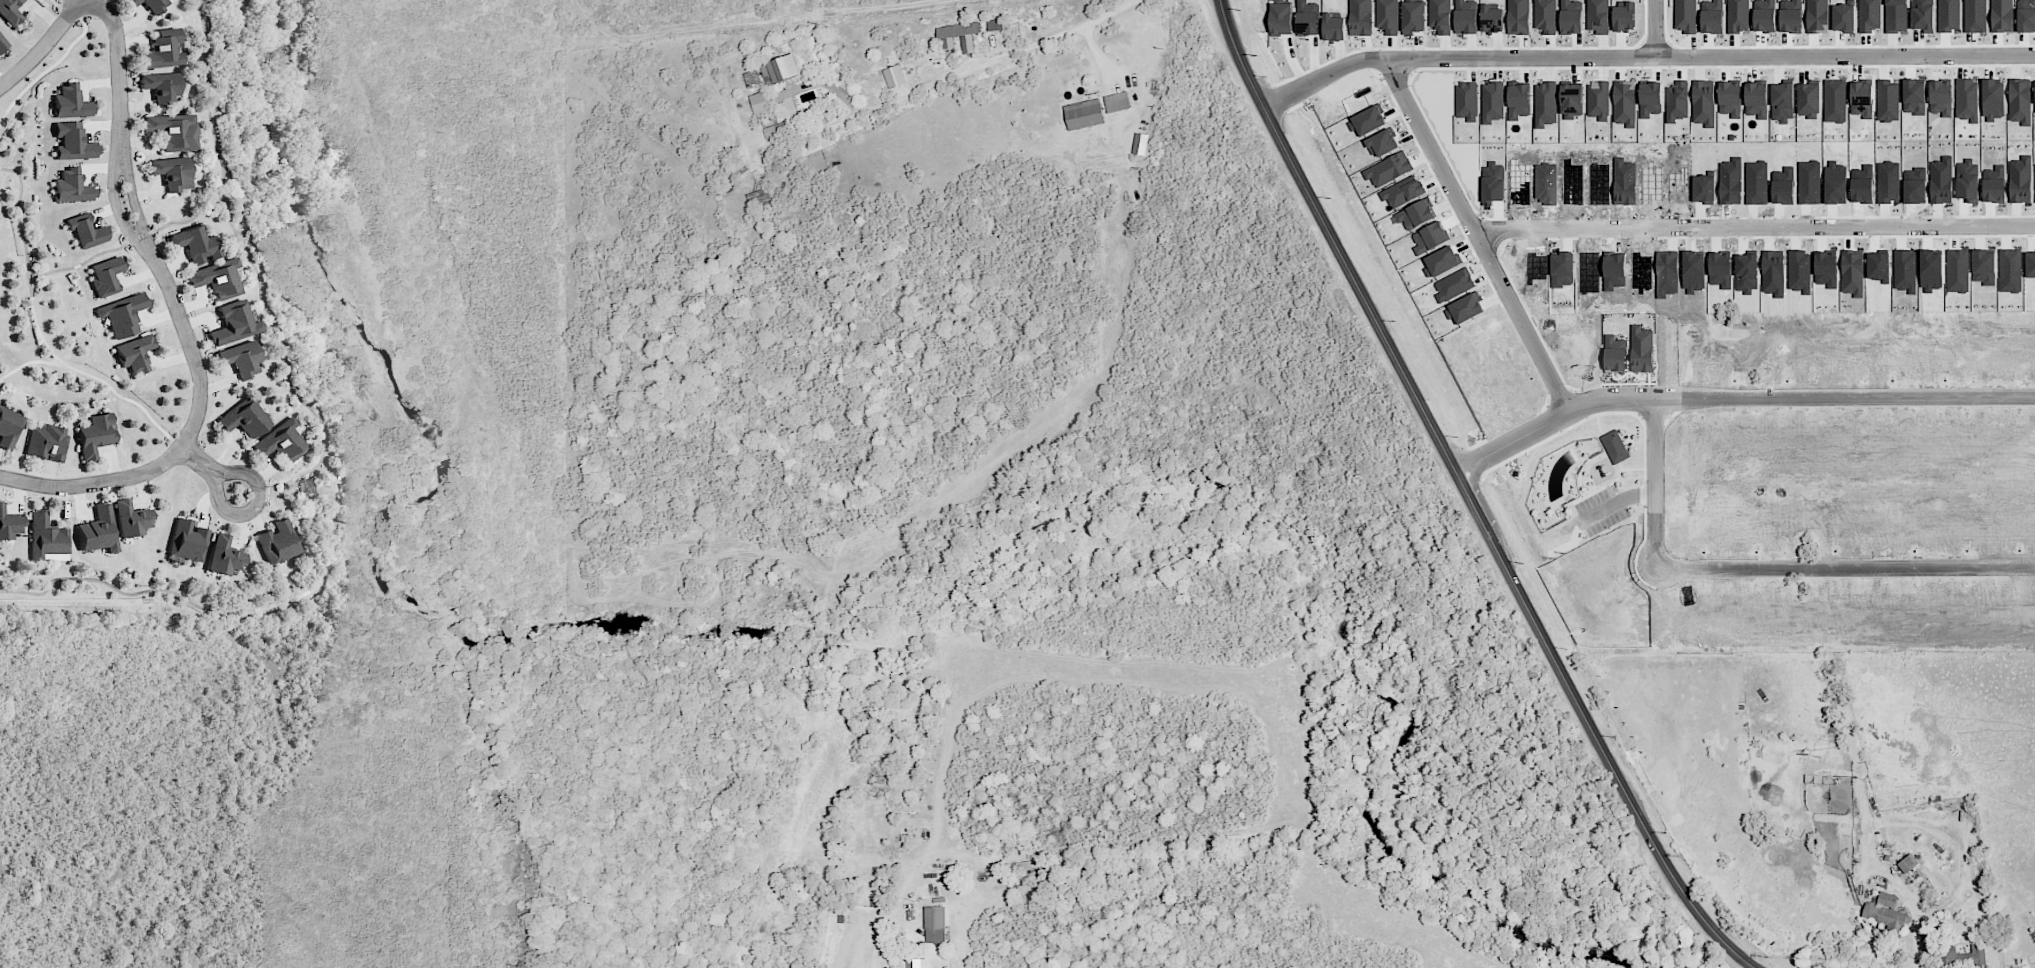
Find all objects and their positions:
building: (130, 2)
building: (154, 5)
road: (789, 10)
building: (10, 11)
building: (1685, 15)
building: (1765, 15)
building: (1791, 15)
building: (1870, 15)
building: (2001, 15)
building: (1387, 16)
building: (1413, 16)
building: (1440, 16)
building: (1466, 16)
building: (1545, 16)
building: (1571, 16)
building: (1598, 16)
building: (1624, 16)
building: (1712, 16)
building: (1817, 16)
building: (1361, 17)
building: (1519, 17)
building: (1737, 17)
building: (1281, 18)
building: (1308, 18)
building: (1492, 18)
road: (772, 23)
building: (995, 24)
building: (1334, 26)
road: (1654, 28)
building: (958, 35)
building: (3, 43)
road: (44, 46)
building: (161, 48)
road: (1712, 56)
road: (118, 66)
building: (781, 69)
road: (979, 73)
building: (894, 76)
road: (1325, 76)
building: (753, 78)
building: (160, 87)
building: (1941, 97)
building: (1650, 98)
building: (1730, 98)
building: (1809, 98)
building: (1599, 99)
building: (1756, 99)
building: (1862, 99)
building: (1572, 100)
building: (70, 101)
building: (1117, 101)
building: (1467, 101)
building: (1492, 101)
building: (1518, 101)
building: (1677, 101)
building: (761, 102)
building: (1625, 102)
building: (1703, 102)
building: (1545, 103)
building: (1084, 114)
building: (1367, 121)
building: (775, 129)
building: (172, 131)
building: (73, 141)
building: (1382, 142)
building: (1140, 143)
building: (1389, 169)
building: (171, 172)
building: (72, 186)
building: (1401, 192)
road: (130, 195)
building: (758, 197)
road: (113, 200)
building: (1416, 214)
road: (1756, 228)
building: (85, 230)
road: (1478, 235)
building: (1430, 237)
building: (195, 242)
building: (1441, 261)
building: (106, 275)
building: (217, 278)
building: (1465, 309)
building: (122, 313)
building: (233, 323)
building: (1642, 349)
building: (1615, 353)
building: (133, 354)
building: (239, 357)
road: (1843, 397)
building: (243, 418)
road: (1550, 422)
building: (9, 427)
building: (96, 434)
road: (188, 437)
building: (47, 441)
building: (283, 442)
building: (1615, 446)
road: (211, 470)
road: (1654, 472)
building: (307, 486)
road: (1468, 495)
building: (132, 518)
building: (9, 523)
building: (99, 530)
building: (48, 538)
building: (186, 541)
building: (277, 542)
building: (224, 555)
road: (1840, 570)
building: (1818, 779)
building: (1907, 863)
road: (1885, 872)
building: (1887, 914)
building: (935, 924)
building: (1961, 956)
building: (916, 963)
road: (851, 966)

